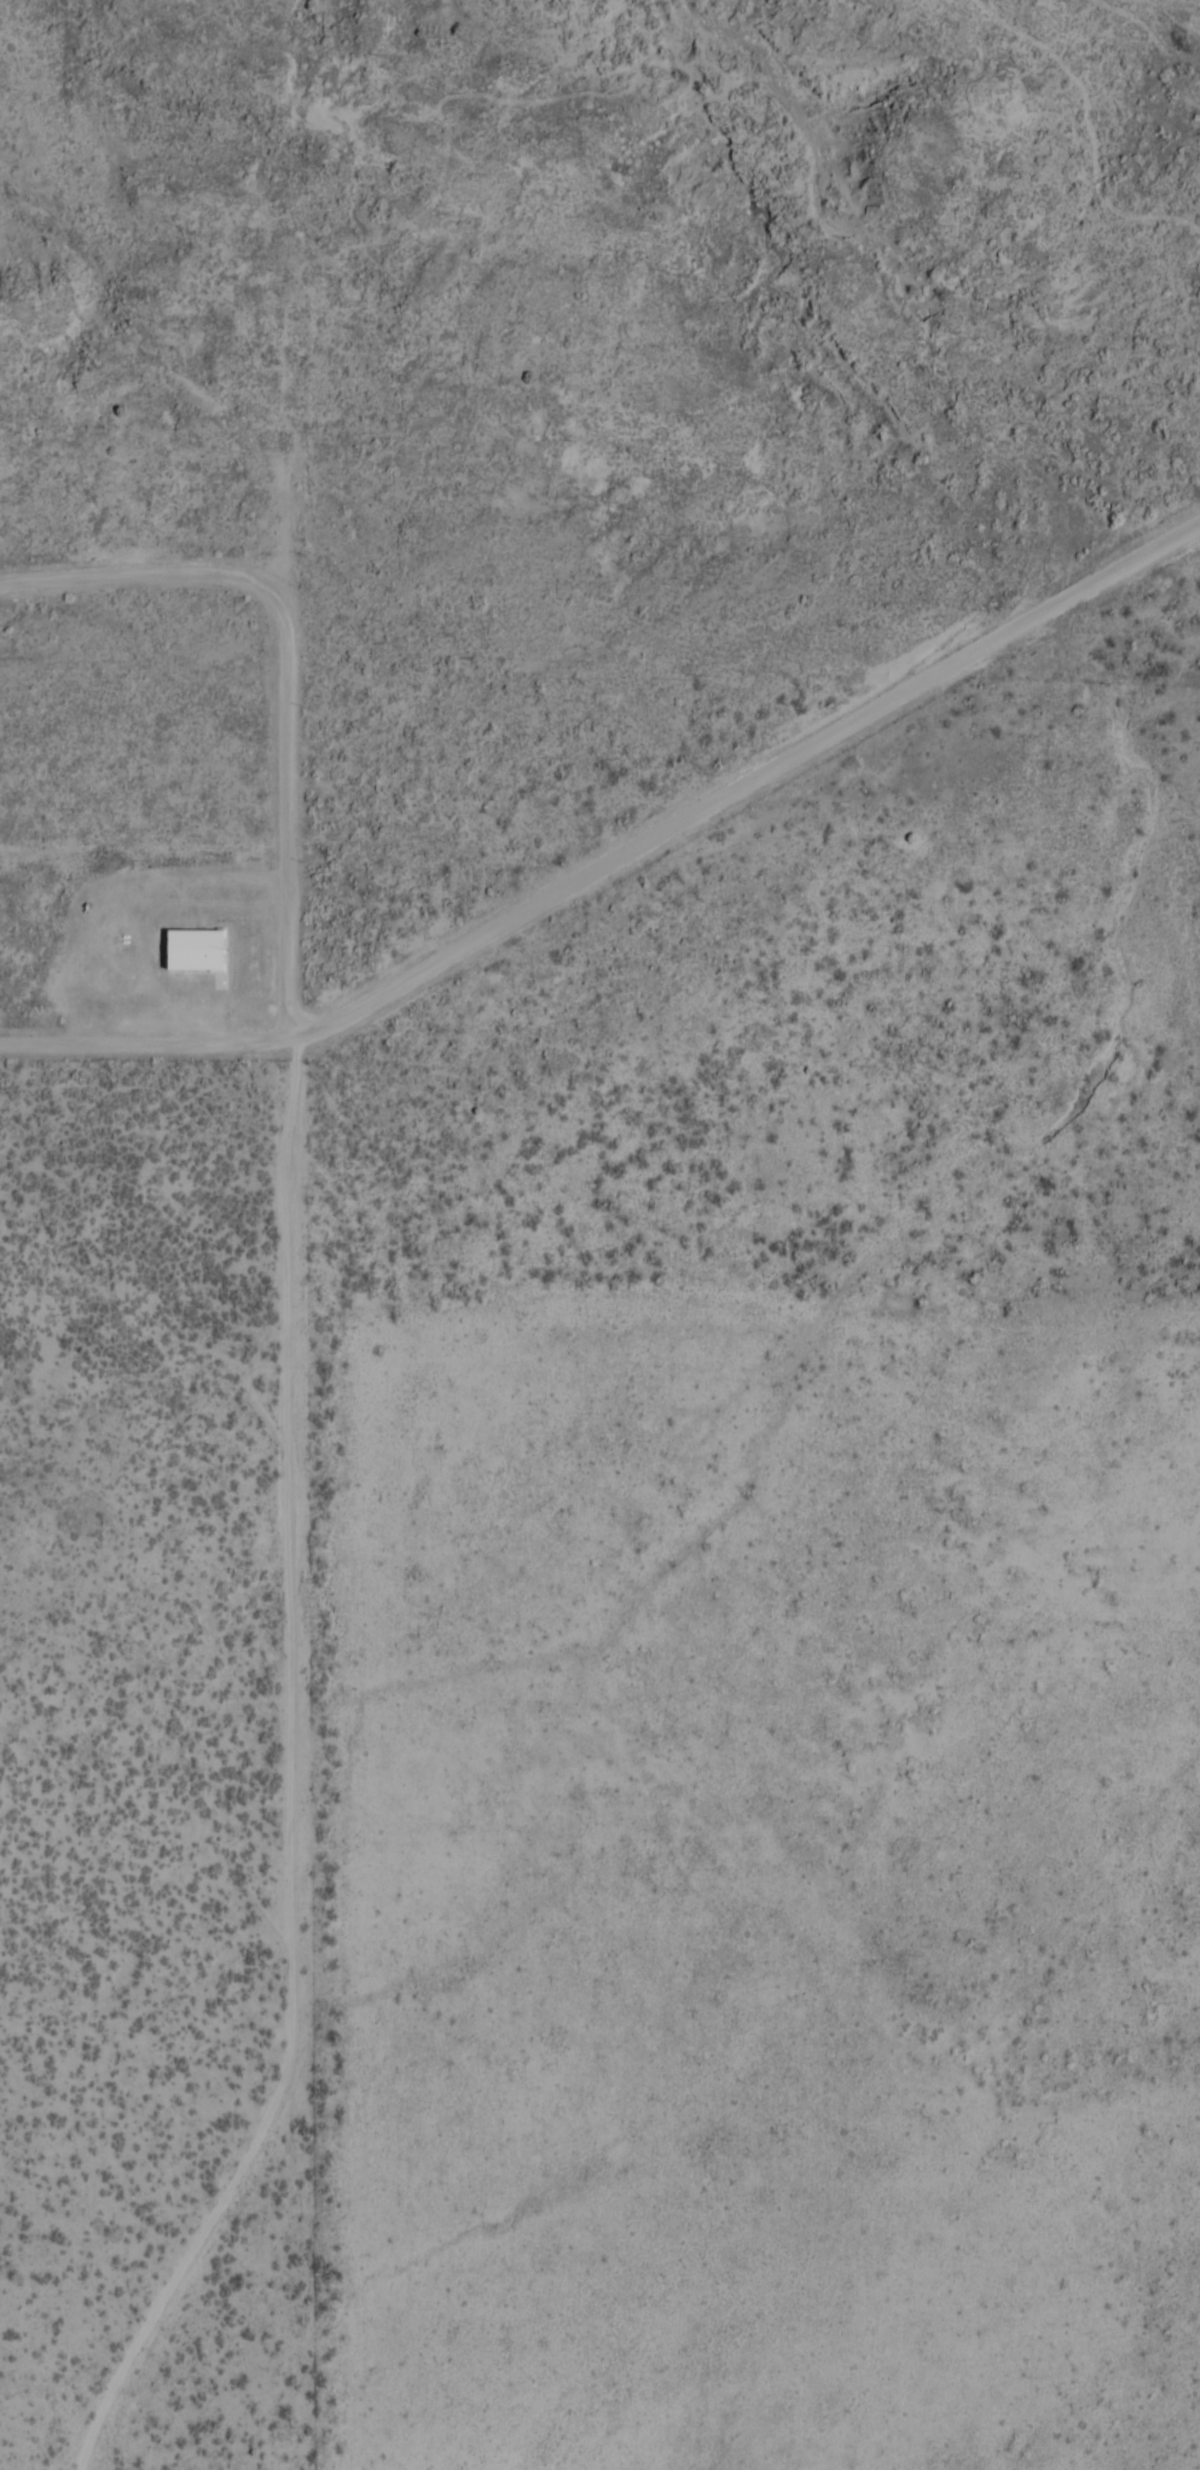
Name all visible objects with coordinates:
road: (294, 677)
road: (618, 868)
building: (186, 952)

